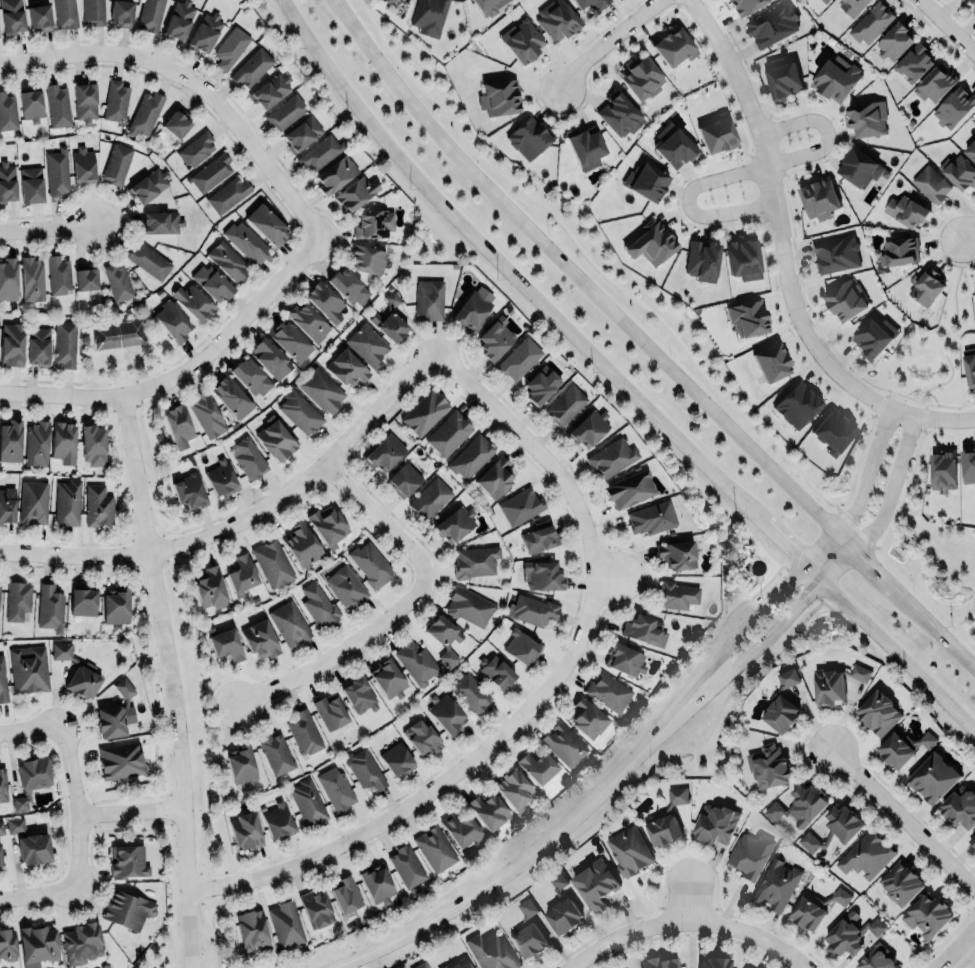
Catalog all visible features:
building: (962, 0)
building: (825, 1)
building: (973, 1)
building: (592, 4)
building: (744, 5)
building: (486, 6)
building: (852, 6)
building: (974, 6)
building: (93, 11)
building: (974, 11)
building: (121, 12)
building: (64, 13)
building: (39, 15)
building: (150, 15)
building: (429, 15)
building: (11, 16)
building: (178, 20)
building: (556, 20)
building: (871, 23)
building: (772, 24)
road: (947, 26)
building: (204, 31)
building: (522, 39)
building: (894, 41)
road: (607, 42)
building: (671, 45)
building: (230, 48)
building: (914, 61)
building: (252, 68)
building: (639, 76)
building: (780, 78)
building: (832, 81)
road: (195, 82)
building: (935, 83)
building: (270, 90)
building: (499, 96)
building: (84, 100)
building: (115, 100)
building: (30, 104)
building: (57, 105)
building: (953, 106)
building: (7, 112)
building: (285, 112)
building: (619, 113)
building: (145, 114)
building: (868, 118)
building: (176, 123)
building: (301, 132)
building: (717, 132)
road: (823, 133)
building: (528, 138)
building: (673, 144)
building: (585, 146)
building: (196, 149)
building: (970, 151)
building: (318, 153)
building: (116, 163)
building: (83, 165)
building: (859, 168)
building: (210, 171)
building: (57, 172)
building: (959, 173)
building: (335, 174)
building: (6, 181)
building: (645, 181)
building: (931, 184)
building: (31, 185)
building: (148, 185)
building: (355, 191)
building: (228, 194)
building: (819, 197)
road: (688, 202)
building: (906, 210)
building: (160, 222)
building: (263, 222)
building: (373, 222)
road: (49, 227)
road: (778, 228)
road: (968, 230)
building: (647, 241)
building: (246, 243)
building: (898, 252)
building: (835, 253)
building: (702, 259)
building: (743, 259)
building: (148, 260)
building: (367, 260)
building: (228, 261)
building: (58, 274)
building: (8, 278)
building: (31, 279)
building: (86, 279)
building: (212, 281)
building: (118, 282)
building: (348, 285)
building: (925, 287)
building: (974, 288)
building: (392, 299)
building: (428, 299)
building: (324, 300)
building: (193, 301)
building: (845, 301)
road: (540, 302)
building: (473, 308)
building: (747, 317)
building: (171, 321)
building: (307, 321)
building: (389, 325)
building: (114, 334)
road: (944, 335)
building: (494, 338)
building: (871, 339)
building: (289, 340)
building: (65, 342)
road: (645, 342)
building: (11, 343)
building: (367, 344)
building: (38, 346)
building: (269, 357)
building: (768, 358)
building: (519, 359)
building: (347, 368)
building: (970, 368)
road: (186, 371)
building: (250, 376)
building: (539, 386)
building: (321, 390)
building: (231, 396)
building: (797, 403)
building: (564, 405)
building: (299, 412)
building: (425, 412)
building: (206, 414)
road: (943, 420)
building: (178, 424)
building: (588, 427)
building: (833, 429)
building: (448, 433)
building: (276, 438)
building: (10, 439)
building: (63, 441)
building: (36, 442)
building: (93, 444)
building: (383, 451)
building: (611, 456)
building: (248, 457)
building: (471, 457)
building: (967, 465)
building: (943, 468)
road: (868, 473)
building: (494, 476)
building: (221, 477)
building: (403, 478)
road: (891, 486)
building: (629, 487)
building: (189, 491)
building: (430, 498)
building: (67, 501)
building: (33, 502)
building: (7, 504)
building: (98, 505)
building: (521, 506)
building: (652, 517)
road: (249, 519)
road: (381, 522)
building: (454, 523)
building: (327, 526)
building: (539, 536)
building: (301, 545)
building: (677, 553)
building: (475, 562)
building: (273, 563)
building: (370, 564)
road: (840, 566)
building: (242, 574)
building: (543, 574)
building: (344, 585)
building: (210, 589)
building: (676, 595)
building: (17, 599)
building: (82, 601)
building: (318, 604)
building: (115, 605)
building: (469, 607)
building: (50, 608)
building: (531, 610)
building: (289, 622)
road: (745, 626)
building: (644, 629)
road: (772, 633)
building: (260, 638)
building: (444, 639)
building: (226, 643)
building: (521, 646)
road: (342, 651)
building: (624, 658)
road: (899, 658)
building: (416, 662)
building: (28, 668)
building: (76, 671)
building: (496, 671)
road: (895, 672)
building: (387, 677)
building: (787, 678)
building: (2, 680)
road: (170, 680)
building: (834, 683)
building: (608, 691)
building: (470, 692)
building: (358, 695)
road: (545, 695)
road: (691, 706)
road: (207, 710)
building: (329, 711)
building: (115, 712)
building: (879, 712)
building: (781, 714)
building: (446, 715)
building: (587, 717)
road: (30, 730)
building: (304, 731)
building: (421, 736)
building: (562, 743)
building: (895, 749)
building: (276, 753)
building: (396, 758)
building: (120, 759)
building: (240, 764)
building: (768, 766)
building: (537, 767)
building: (364, 768)
building: (33, 773)
building: (933, 778)
building: (3, 785)
building: (336, 788)
building: (514, 789)
building: (21, 802)
building: (307, 802)
road: (615, 802)
building: (799, 806)
road: (81, 807)
building: (960, 807)
building: (487, 809)
road: (133, 810)
building: (666, 818)
building: (277, 820)
road: (904, 821)
building: (714, 823)
building: (15, 824)
building: (834, 827)
building: (1, 828)
building: (245, 830)
building: (461, 830)
building: (972, 840)
building: (33, 848)
building: (434, 849)
building: (629, 851)
building: (749, 854)
building: (865, 855)
building: (0, 860)
building: (127, 860)
building: (406, 866)
road: (512, 867)
building: (901, 882)
building: (376, 883)
building: (776, 883)
building: (595, 884)
road: (39, 895)
building: (840, 896)
road: (691, 903)
building: (316, 908)
building: (562, 908)
building: (127, 909)
building: (807, 914)
building: (927, 916)
road: (687, 923)
building: (285, 924)
building: (251, 929)
building: (528, 931)
building: (850, 933)
building: (82, 943)
building: (7, 944)
building: (37, 945)
road: (957, 949)
building: (491, 952)
building: (877, 958)
road: (968, 959)
building: (658, 962)
building: (714, 962)
building: (461, 964)
building: (421, 965)
building: (748, 966)

